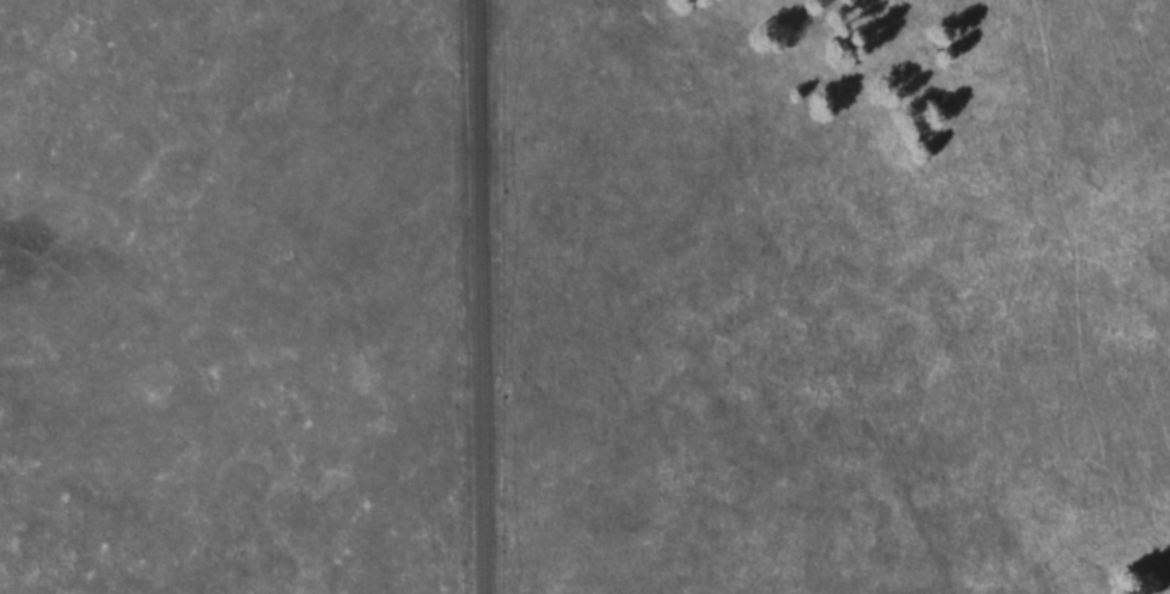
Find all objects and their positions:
road: (503, 295)

